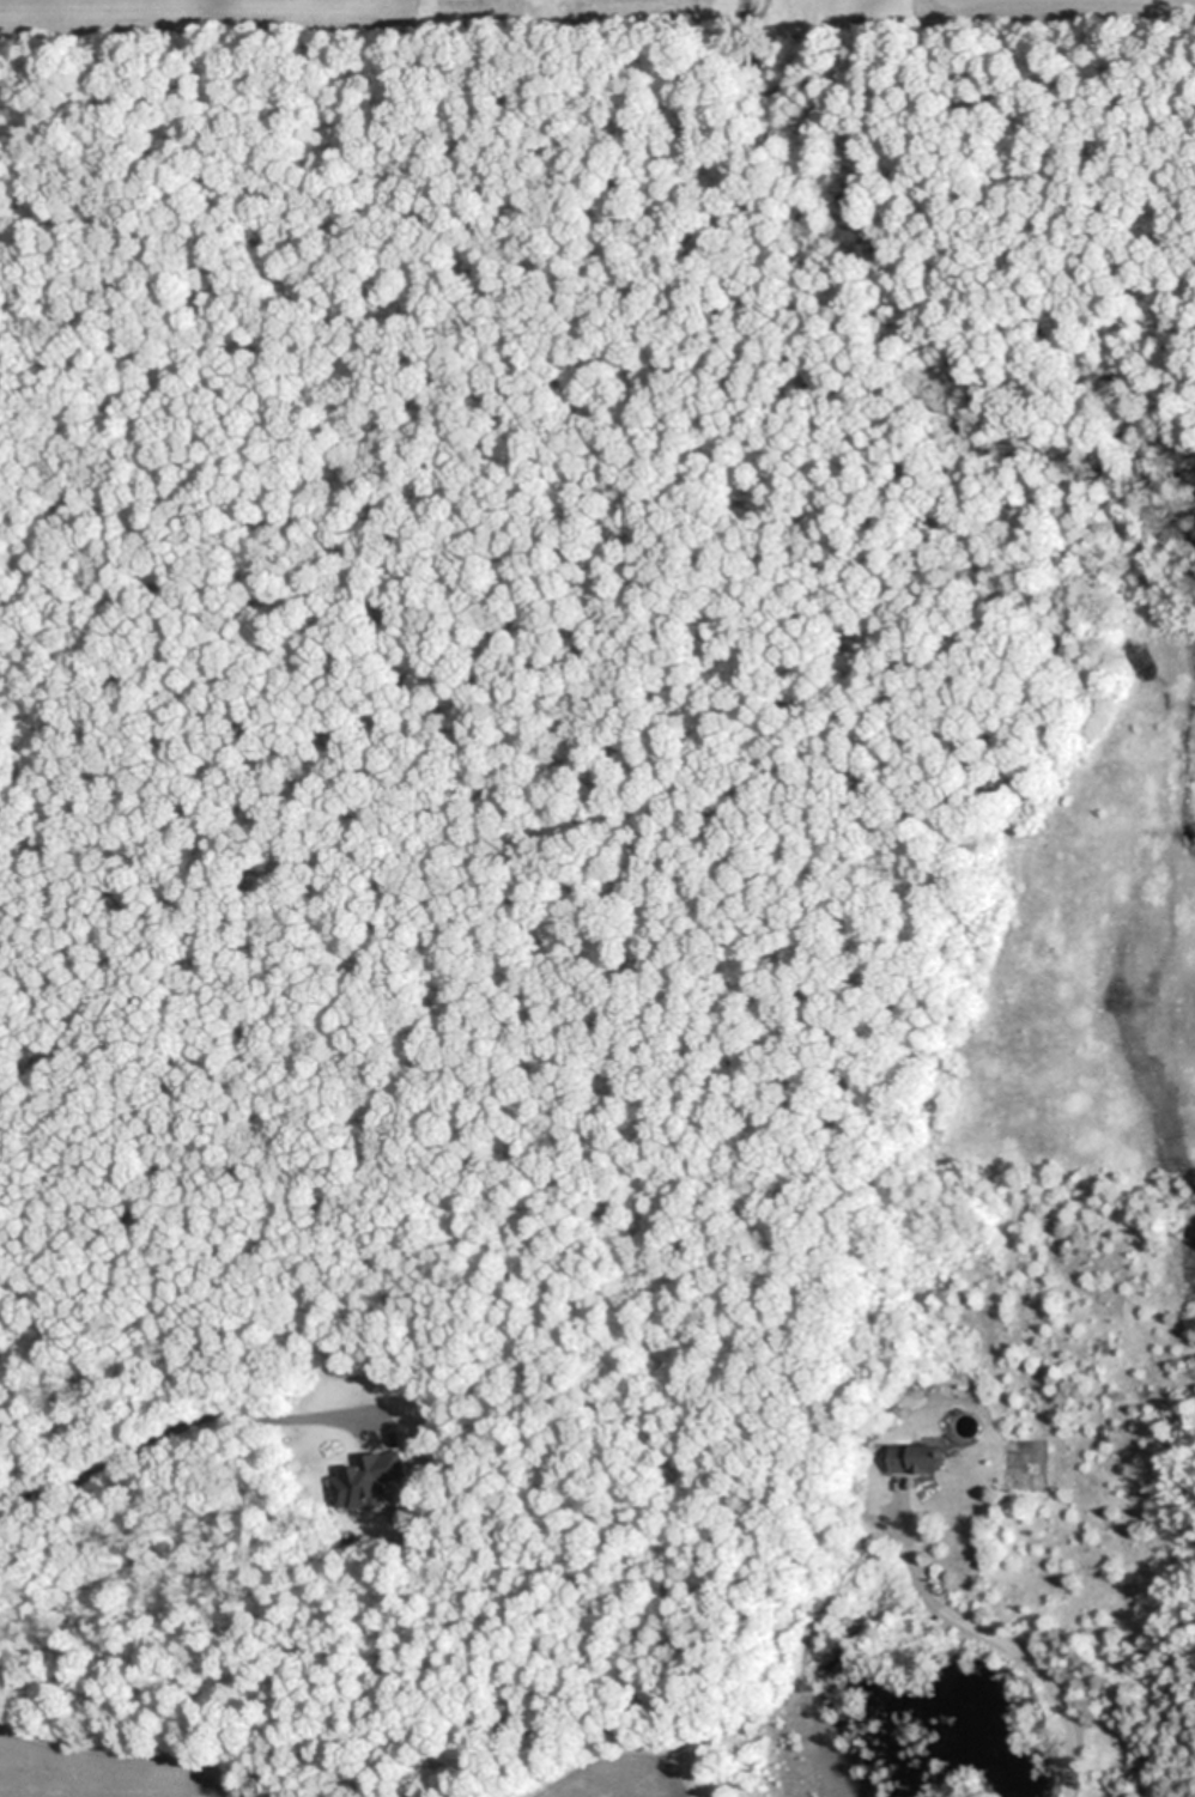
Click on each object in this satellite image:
building: (918, 1457)

